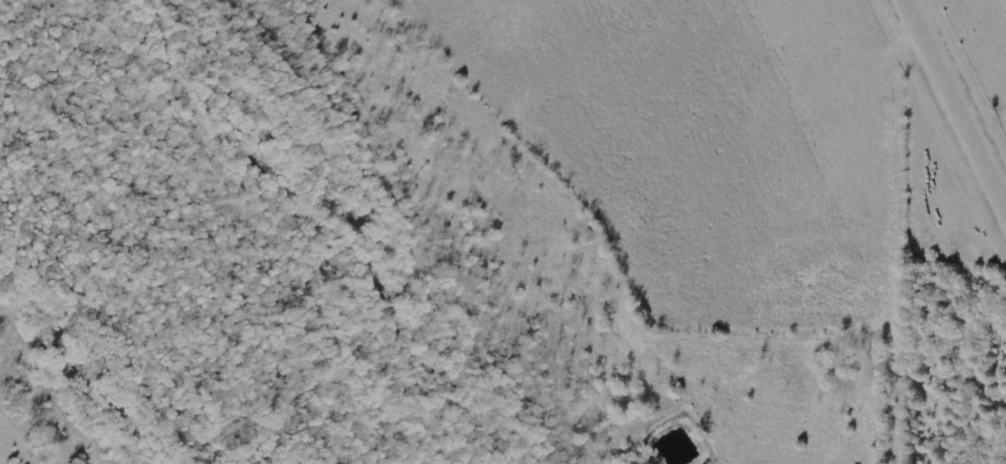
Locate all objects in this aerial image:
road: (953, 107)

